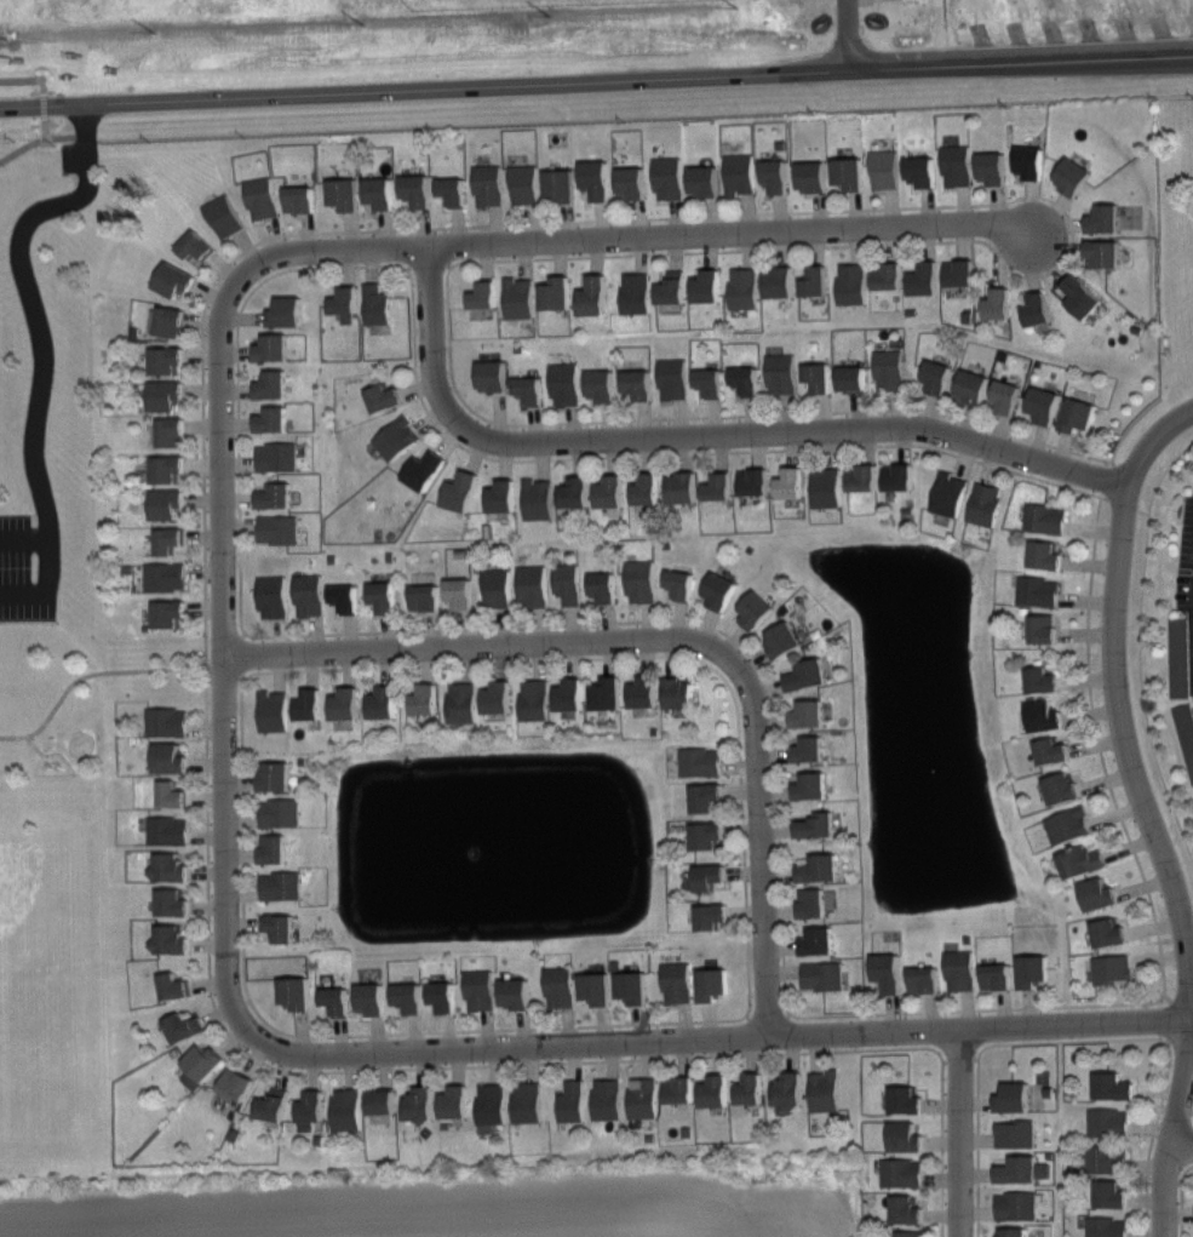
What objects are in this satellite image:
crop: (298, 41)
road: (1117, 62)
road: (520, 85)
road: (41, 111)
road: (616, 116)
parking lot: (78, 156)
building: (1028, 161)
building: (956, 164)
building: (991, 167)
building: (884, 170)
building: (919, 170)
building: (850, 172)
building: (738, 173)
building: (776, 174)
building: (811, 174)
building: (1072, 176)
building: (669, 177)
building: (596, 178)
building: (704, 179)
building: (631, 182)
building: (523, 184)
building: (560, 184)
building: (488, 185)
building: (415, 189)
building: (452, 190)
building: (379, 191)
building: (344, 193)
building: (262, 197)
building: (299, 199)
building: (224, 216)
building: (1102, 218)
road: (630, 236)
building: (195, 245)
building: (1103, 252)
building: (959, 271)
building: (887, 275)
building: (174, 279)
building: (923, 279)
building: (815, 280)
building: (779, 282)
building: (851, 284)
building: (706, 286)
building: (672, 288)
building: (744, 288)
building: (556, 293)
building: (636, 293)
building: (483, 294)
building: (593, 294)
building: (518, 297)
building: (1080, 297)
road: (31, 303)
building: (344, 303)
building: (375, 303)
building: (996, 305)
building: (1036, 309)
building: (286, 311)
building: (168, 321)
road: (202, 339)
building: (273, 347)
building: (166, 360)
building: (888, 368)
building: (781, 373)
building: (492, 374)
building: (818, 376)
building: (937, 376)
building: (672, 377)
building: (746, 379)
building: (851, 379)
building: (709, 380)
building: (638, 383)
building: (564, 384)
building: (601, 384)
building: (271, 385)
building: (971, 385)
building: (529, 389)
building: (166, 395)
building: (1006, 396)
building: (384, 397)
building: (1043, 405)
road: (746, 410)
building: (1077, 414)
building: (271, 419)
building: (170, 431)
road: (700, 434)
building: (396, 437)
building: (276, 457)
building: (167, 468)
building: (424, 470)
building: (899, 475)
building: (861, 476)
building: (753, 481)
building: (791, 481)
building: (718, 486)
building: (826, 486)
building: (682, 487)
building: (646, 489)
building: (461, 491)
building: (609, 491)
building: (575, 492)
building: (948, 493)
building: (274, 496)
building: (503, 496)
building: (538, 498)
building: (166, 503)
building: (985, 503)
building: (1045, 517)
building: (277, 528)
building: (168, 540)
building: (1044, 555)
road: (47, 566)
parking lot: (21, 574)
building: (165, 577)
building: (641, 580)
building: (568, 582)
building: (681, 583)
building: (533, 585)
building: (603, 586)
building: (497, 588)
building: (719, 589)
building: (1038, 590)
building: (460, 592)
building: (271, 595)
building: (309, 595)
building: (383, 596)
building: (345, 597)
building: (425, 597)
building: (756, 608)
building: (168, 613)
building: (1043, 628)
road: (671, 640)
building: (784, 640)
road: (225, 658)
building: (1181, 659)
park: (50, 669)
road: (98, 674)
building: (807, 674)
building: (1040, 678)
building: (643, 691)
building: (678, 692)
building: (607, 693)
building: (570, 694)
building: (498, 697)
building: (535, 698)
building: (425, 699)
building: (383, 701)
building: (463, 701)
building: (345, 703)
building: (309, 704)
building: (273, 710)
building: (809, 712)
building: (1043, 715)
building: (167, 722)
building: (1186, 732)
road: (34, 745)
building: (809, 748)
building: (1053, 750)
fountain: (923, 752)
building: (168, 757)
building: (700, 762)
road: (1130, 766)
building: (276, 775)
building: (811, 785)
building: (1061, 788)
building: (172, 794)
building: (706, 796)
building: (281, 812)
building: (1068, 824)
building: (818, 825)
building: (168, 831)
fountain: (506, 831)
building: (706, 834)
building: (273, 847)
building: (1080, 860)
building: (820, 866)
building: (173, 867)
building: (709, 875)
building: (281, 884)
building: (1099, 893)
building: (813, 901)
building: (174, 903)
building: (711, 916)
park: (38, 923)
building: (282, 927)
building: (1108, 932)
building: (176, 939)
building: (819, 940)
building: (1111, 968)
building: (960, 969)
building: (1033, 969)
building: (889, 972)
building: (824, 974)
building: (997, 975)
building: (924, 978)
building: (676, 981)
building: (712, 983)
building: (177, 985)
building: (560, 986)
building: (597, 986)
building: (632, 986)
building: (480, 990)
building: (294, 991)
building: (516, 992)
building: (409, 996)
building: (443, 996)
building: (371, 998)
building: (334, 1000)
road: (968, 1008)
road: (734, 1018)
building: (184, 1025)
road: (717, 1038)
road: (1077, 1041)
building: (205, 1065)
building: (240, 1083)
building: (1115, 1086)
building: (788, 1087)
building: (751, 1088)
building: (681, 1089)
building: (826, 1089)
building: (715, 1090)
building: (644, 1098)
building: (608, 1099)
building: (1015, 1099)
building: (383, 1100)
building: (455, 1100)
building: (492, 1100)
building: (573, 1100)
building: (421, 1101)
building: (908, 1101)
building: (276, 1104)
building: (529, 1104)
building: (312, 1110)
building: (348, 1110)
building: (1111, 1123)
road: (957, 1132)
building: (1015, 1134)
building: (908, 1138)
road: (1183, 1144)
building: (1108, 1161)
building: (1019, 1169)
building: (902, 1172)
road: (1163, 1189)
building: (1113, 1195)
road: (1182, 1198)
building: (1017, 1205)
crop: (444, 1207)
building: (910, 1209)
building: (1192, 1210)
building: (1109, 1226)
building: (912, 1232)
building: (1014, 1232)

